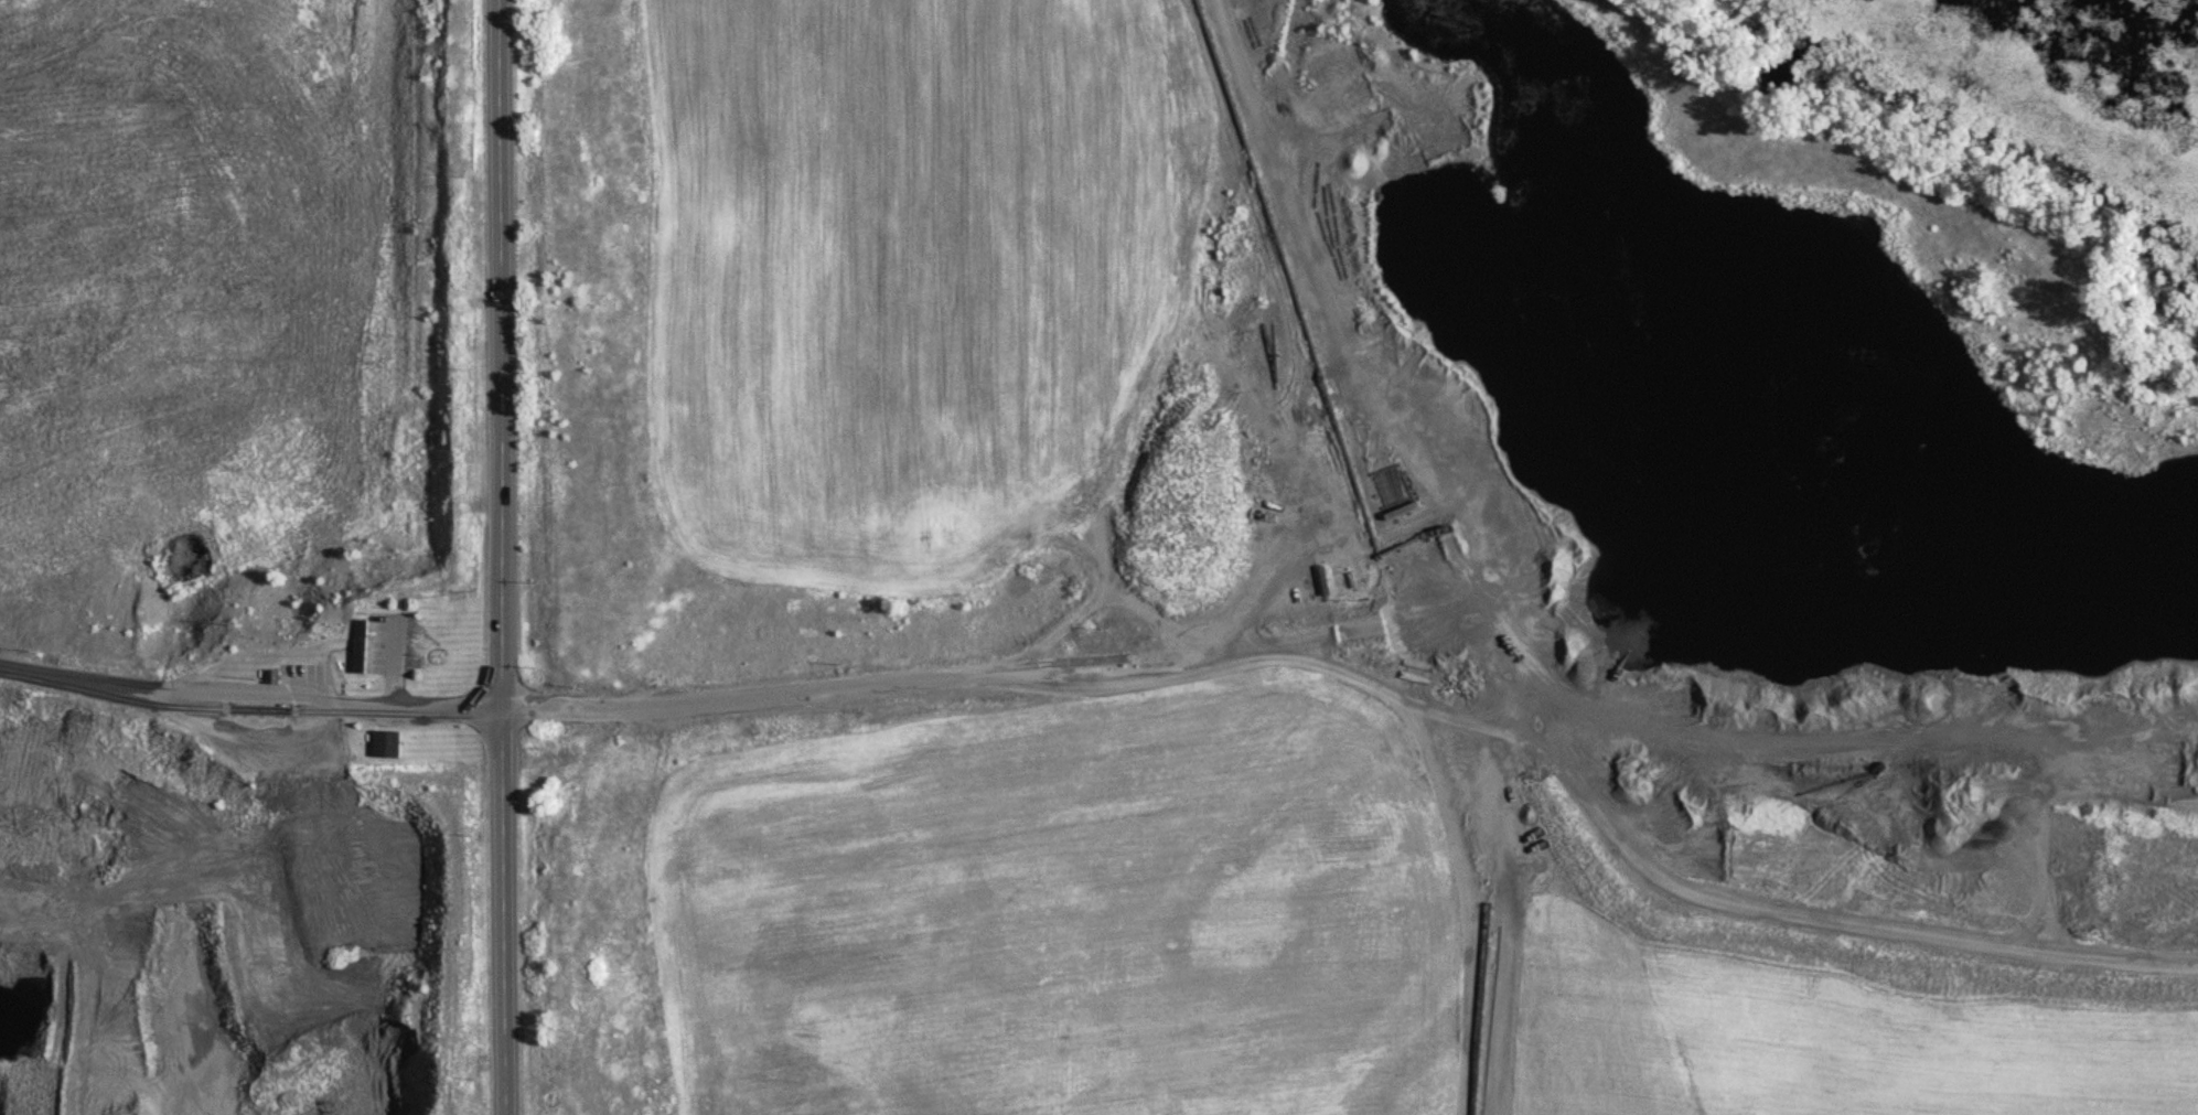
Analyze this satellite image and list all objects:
road: (266, 349)
road: (506, 557)
building: (362, 651)
road: (916, 683)
road: (253, 699)

